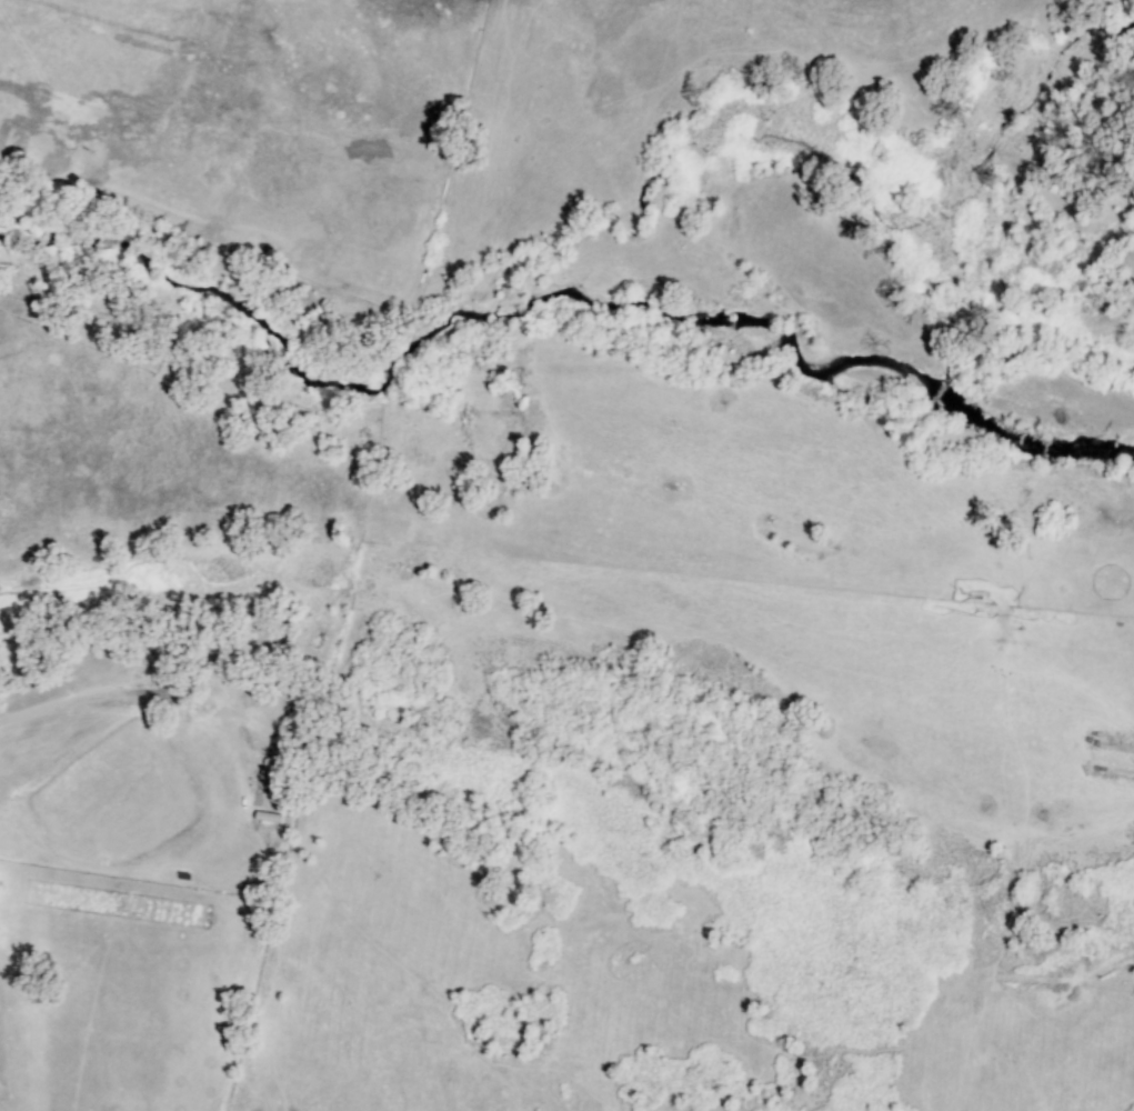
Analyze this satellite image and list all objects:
road: (124, 693)

